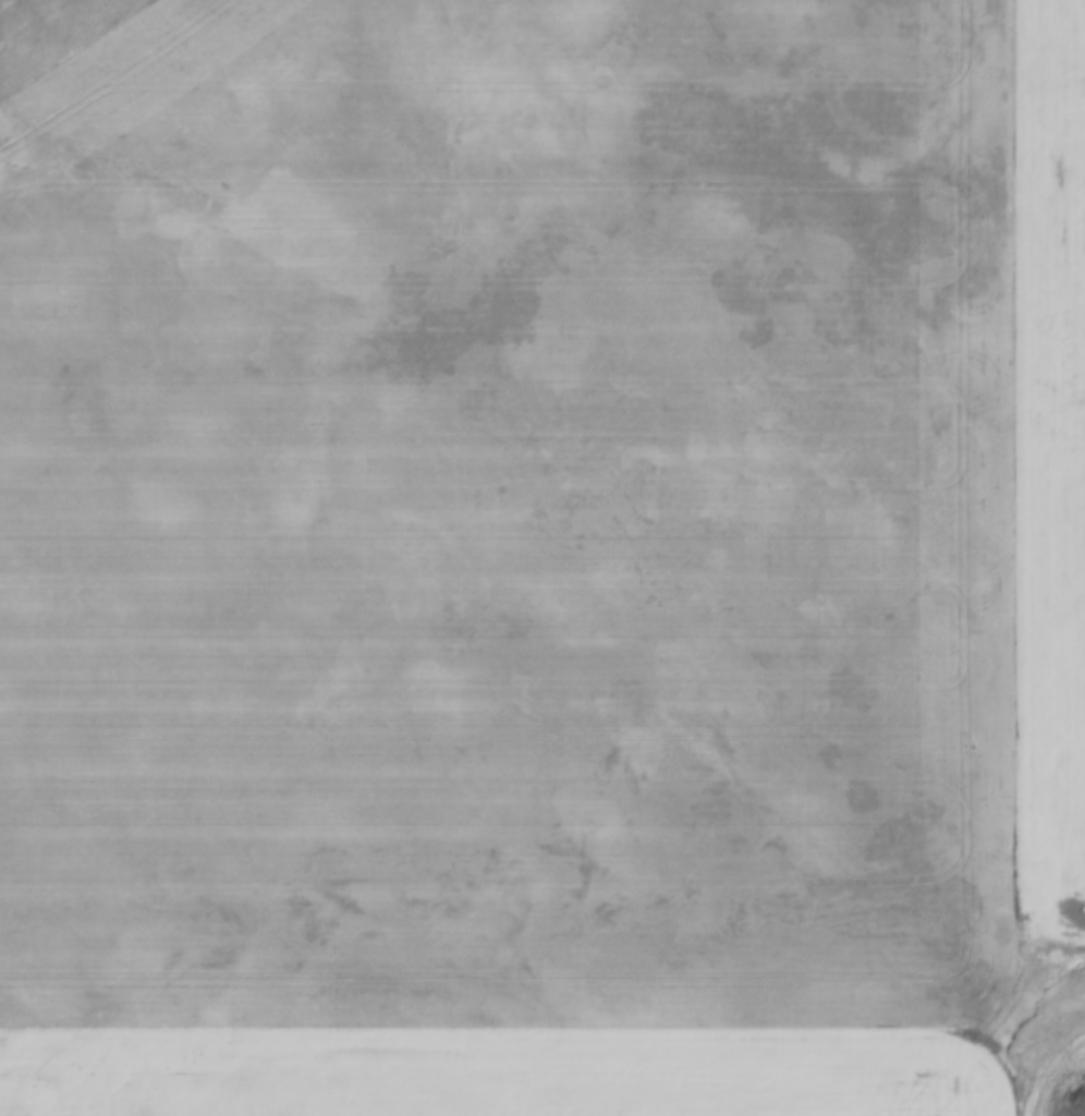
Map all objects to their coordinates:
road: (479, 1021)

